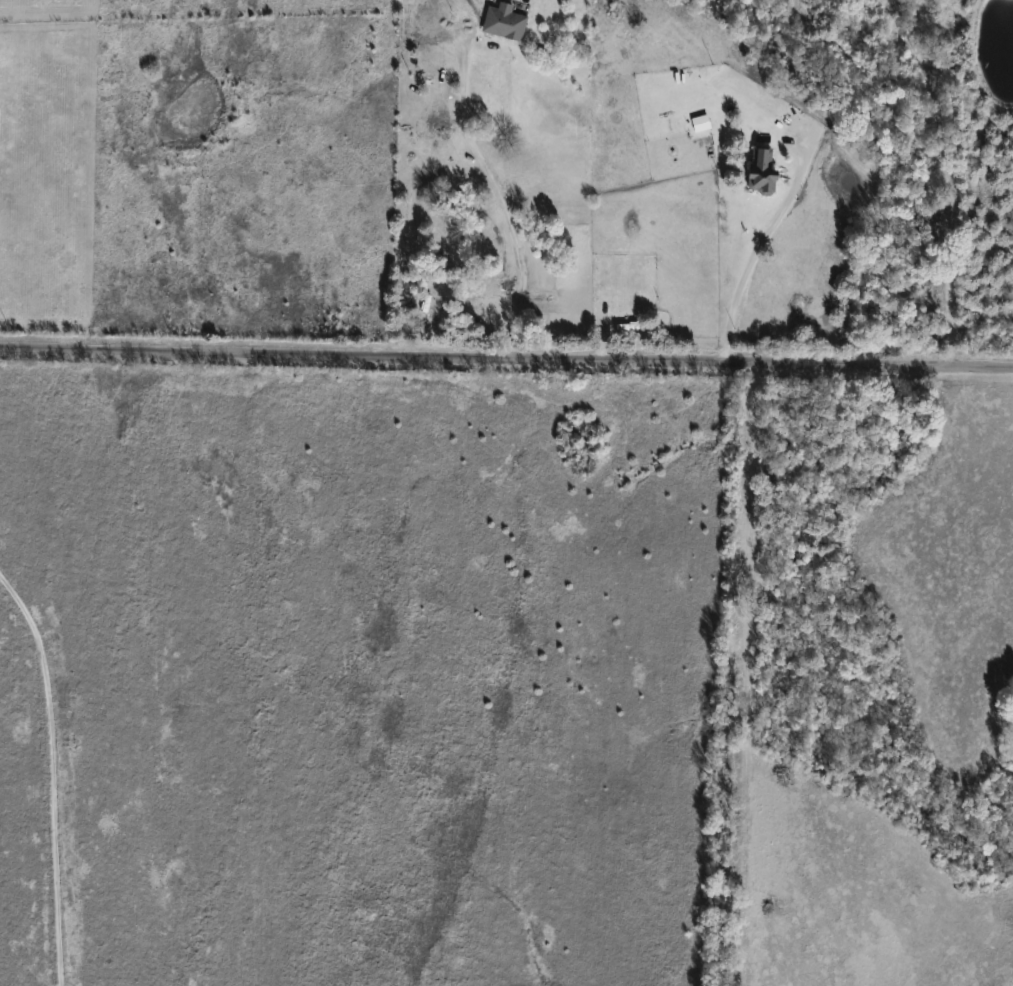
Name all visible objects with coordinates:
building: (507, 21)
building: (766, 172)
road: (945, 176)
road: (499, 198)
road: (748, 264)
building: (628, 298)
road: (506, 358)
road: (48, 781)

